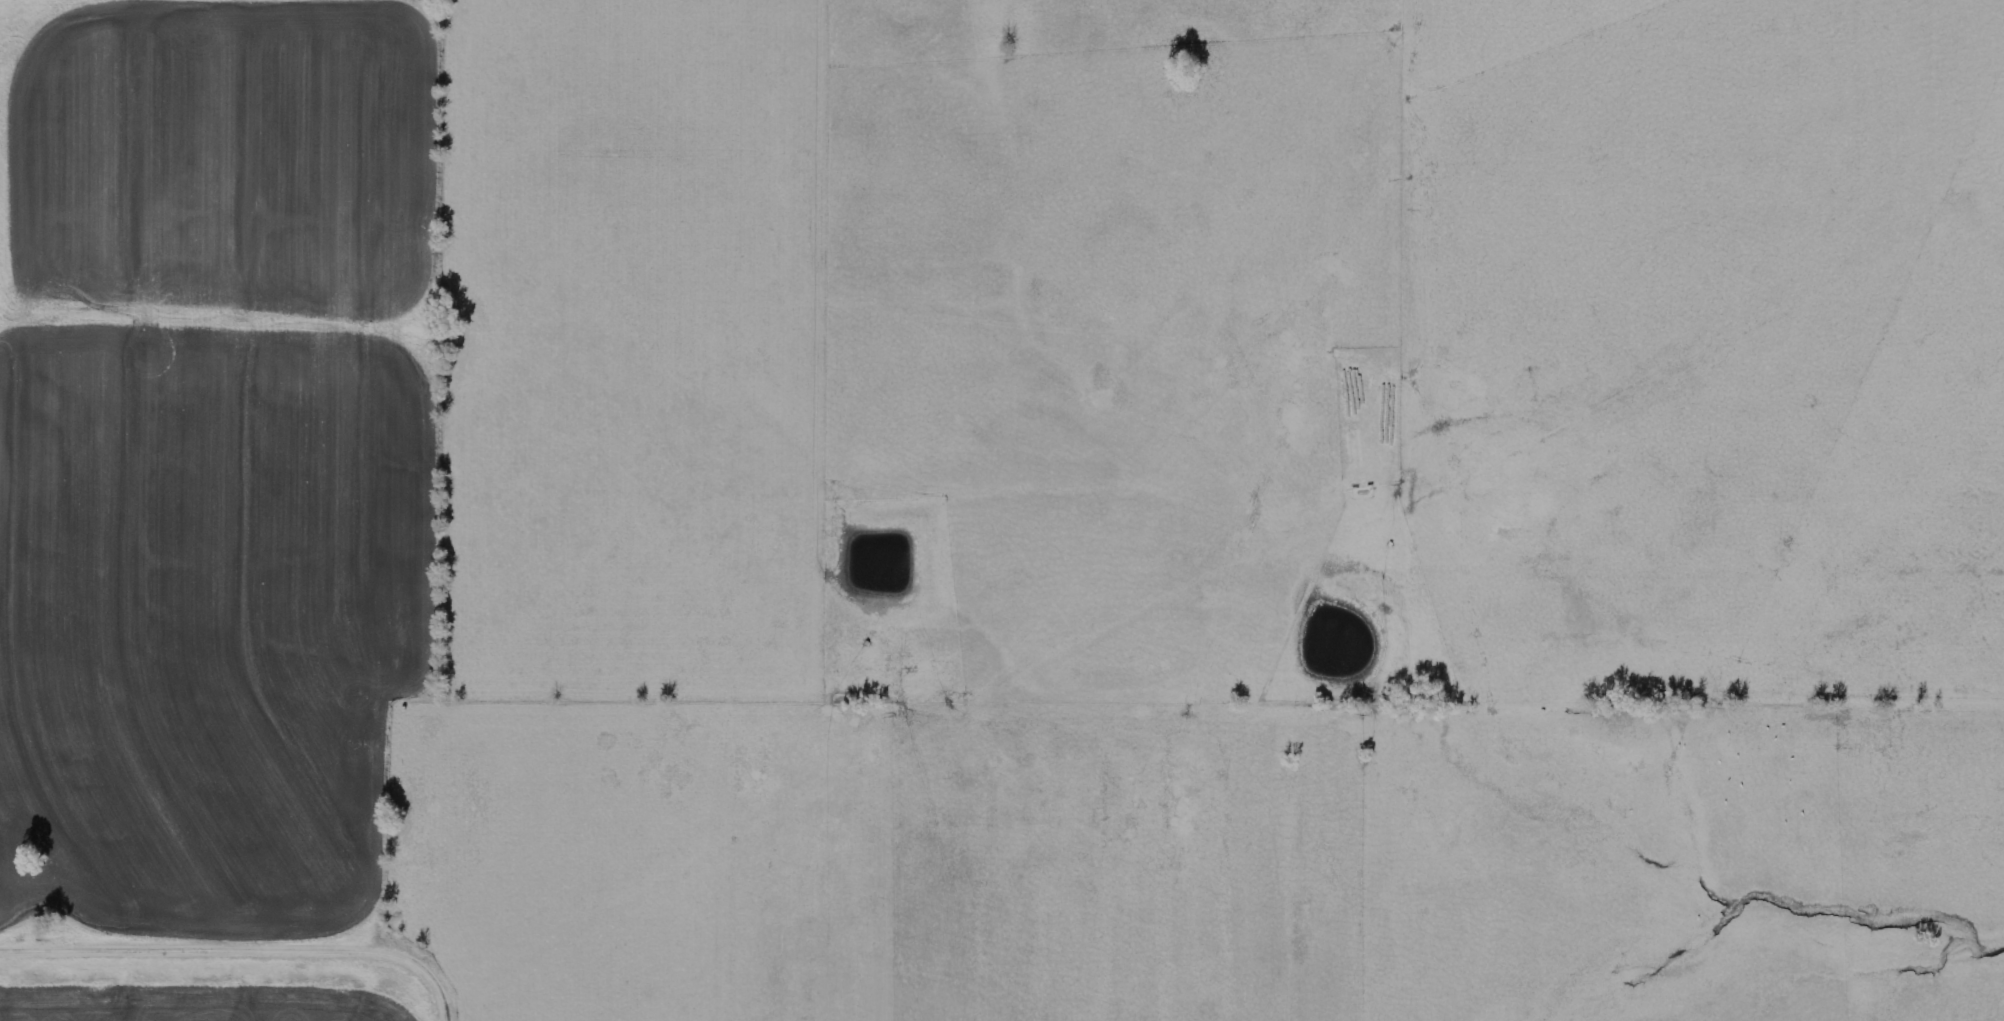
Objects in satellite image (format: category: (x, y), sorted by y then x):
road: (245, 950)

